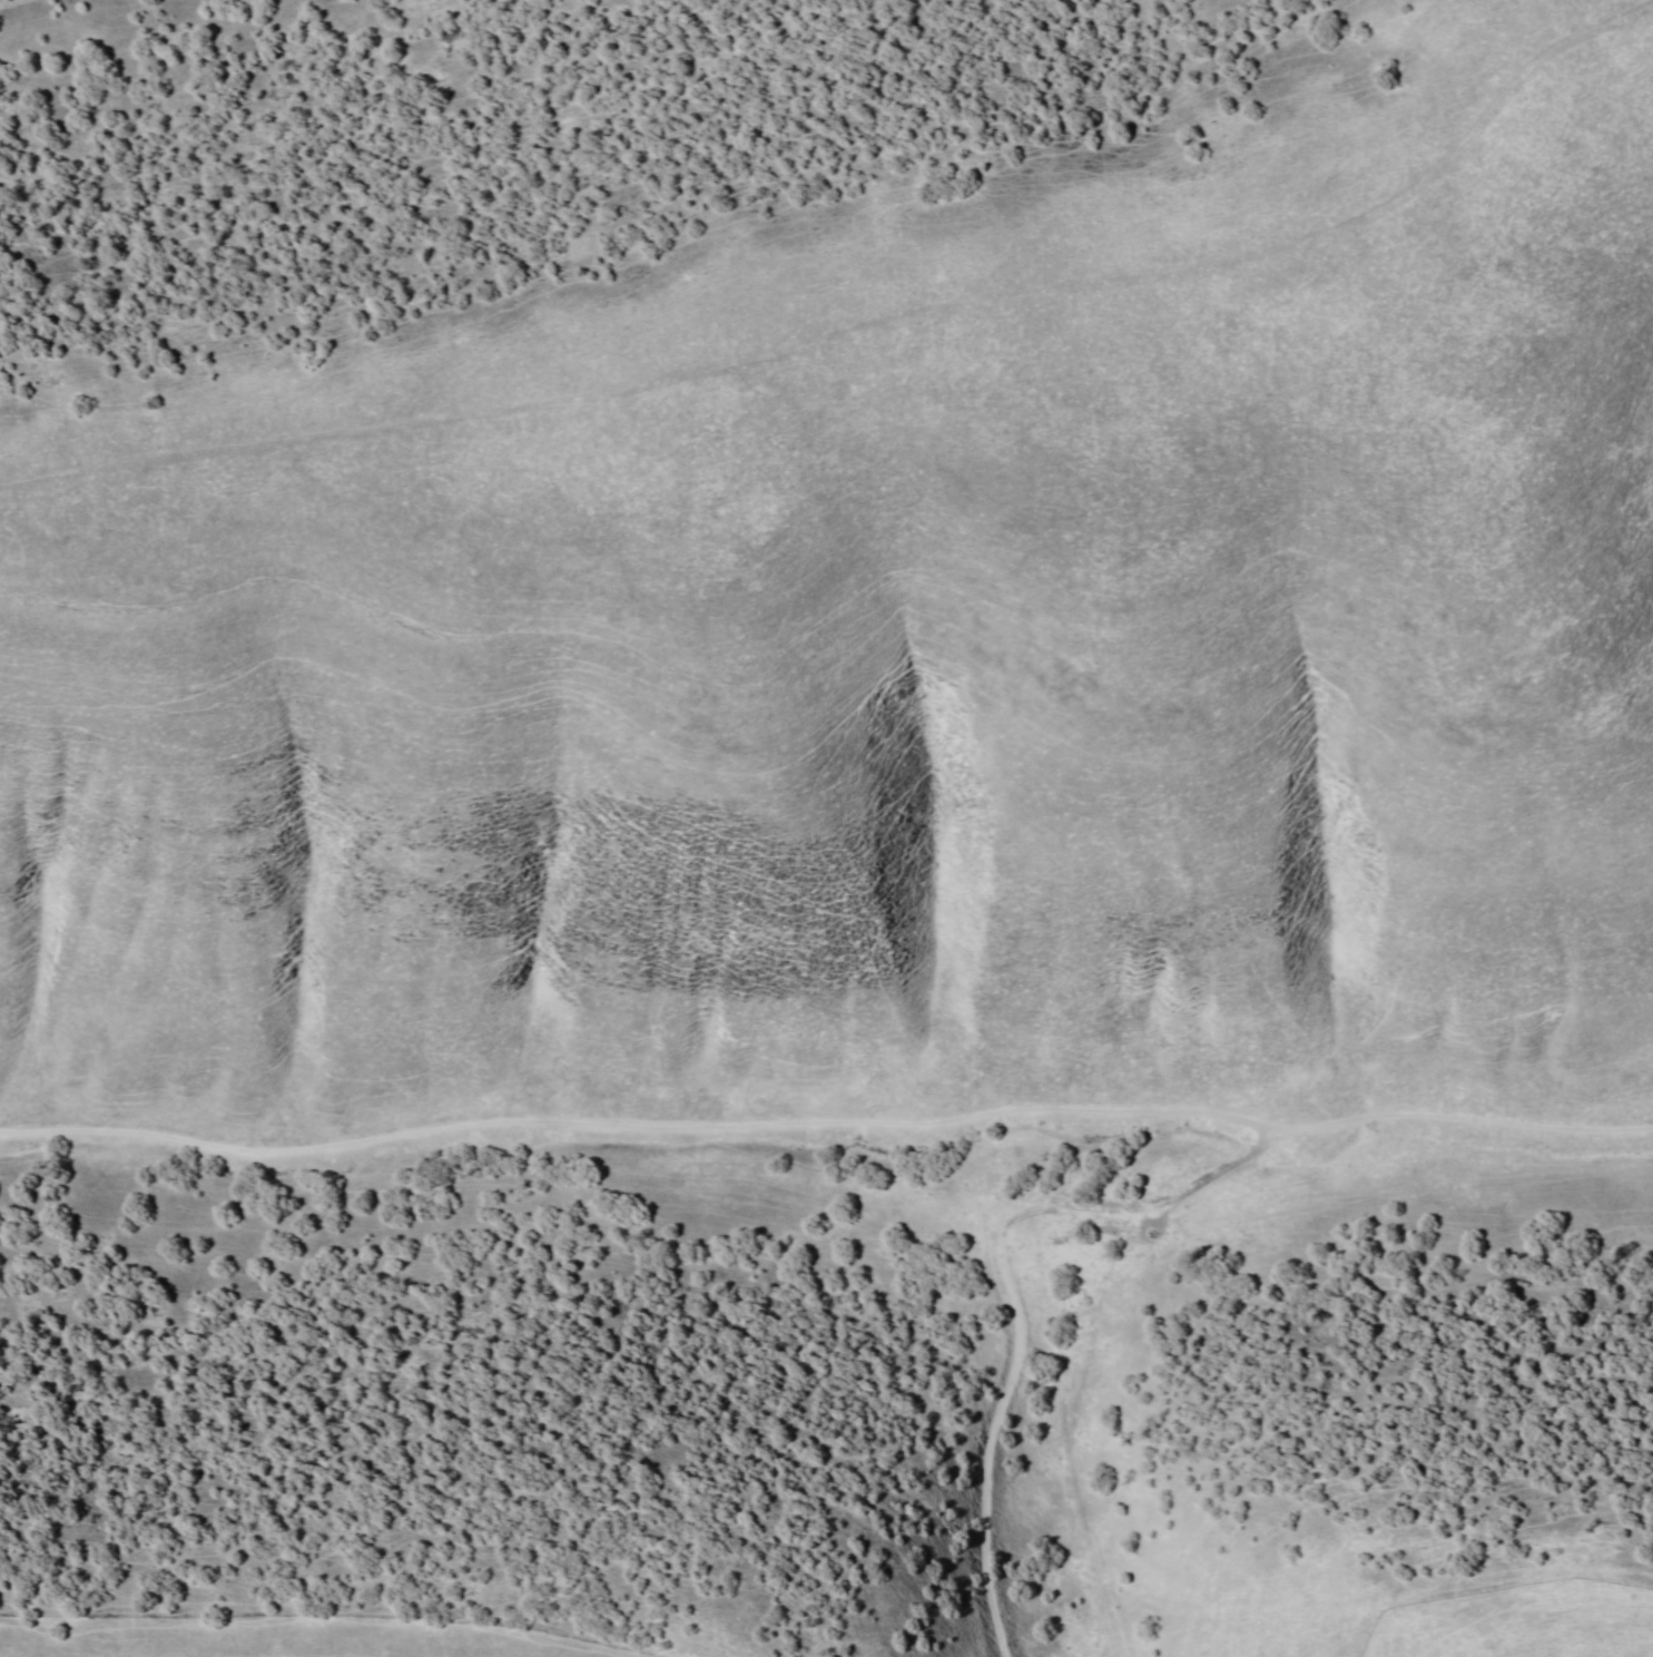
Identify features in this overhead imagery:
road: (189, 39)
road: (826, 1124)
road: (1498, 1601)

